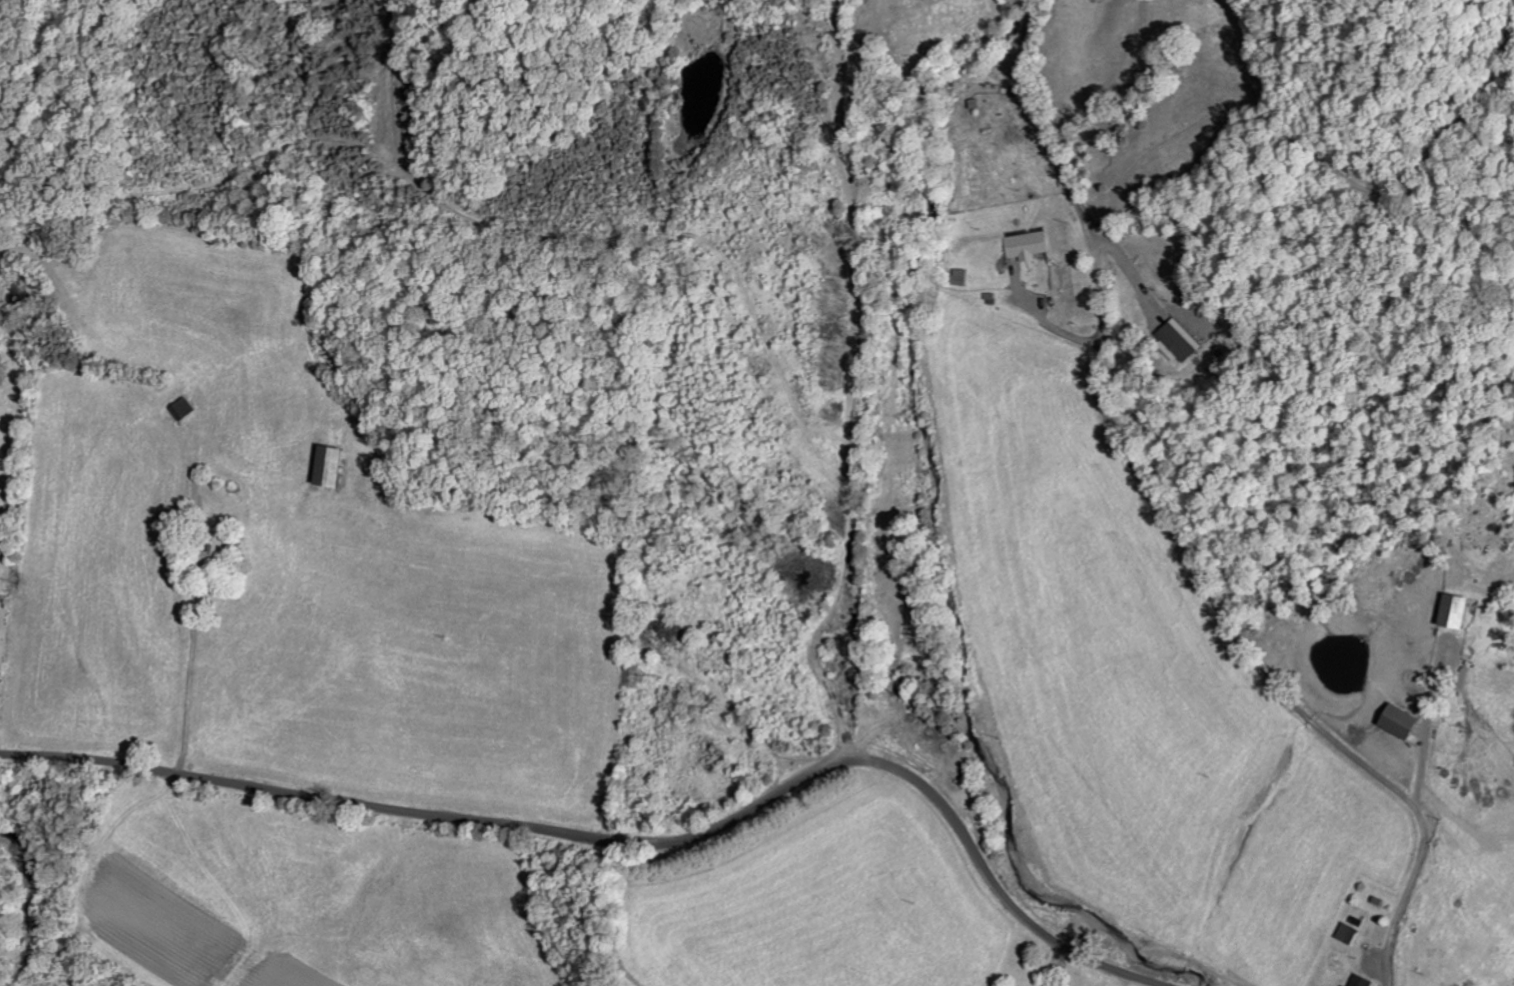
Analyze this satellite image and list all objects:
building: (1026, 245)
building: (1177, 339)
building: (183, 408)
building: (332, 467)
road: (1171, 526)
building: (1456, 612)
building: (1400, 722)
road: (633, 841)
building: (1347, 932)
building: (1362, 980)
building: (1345, 985)

